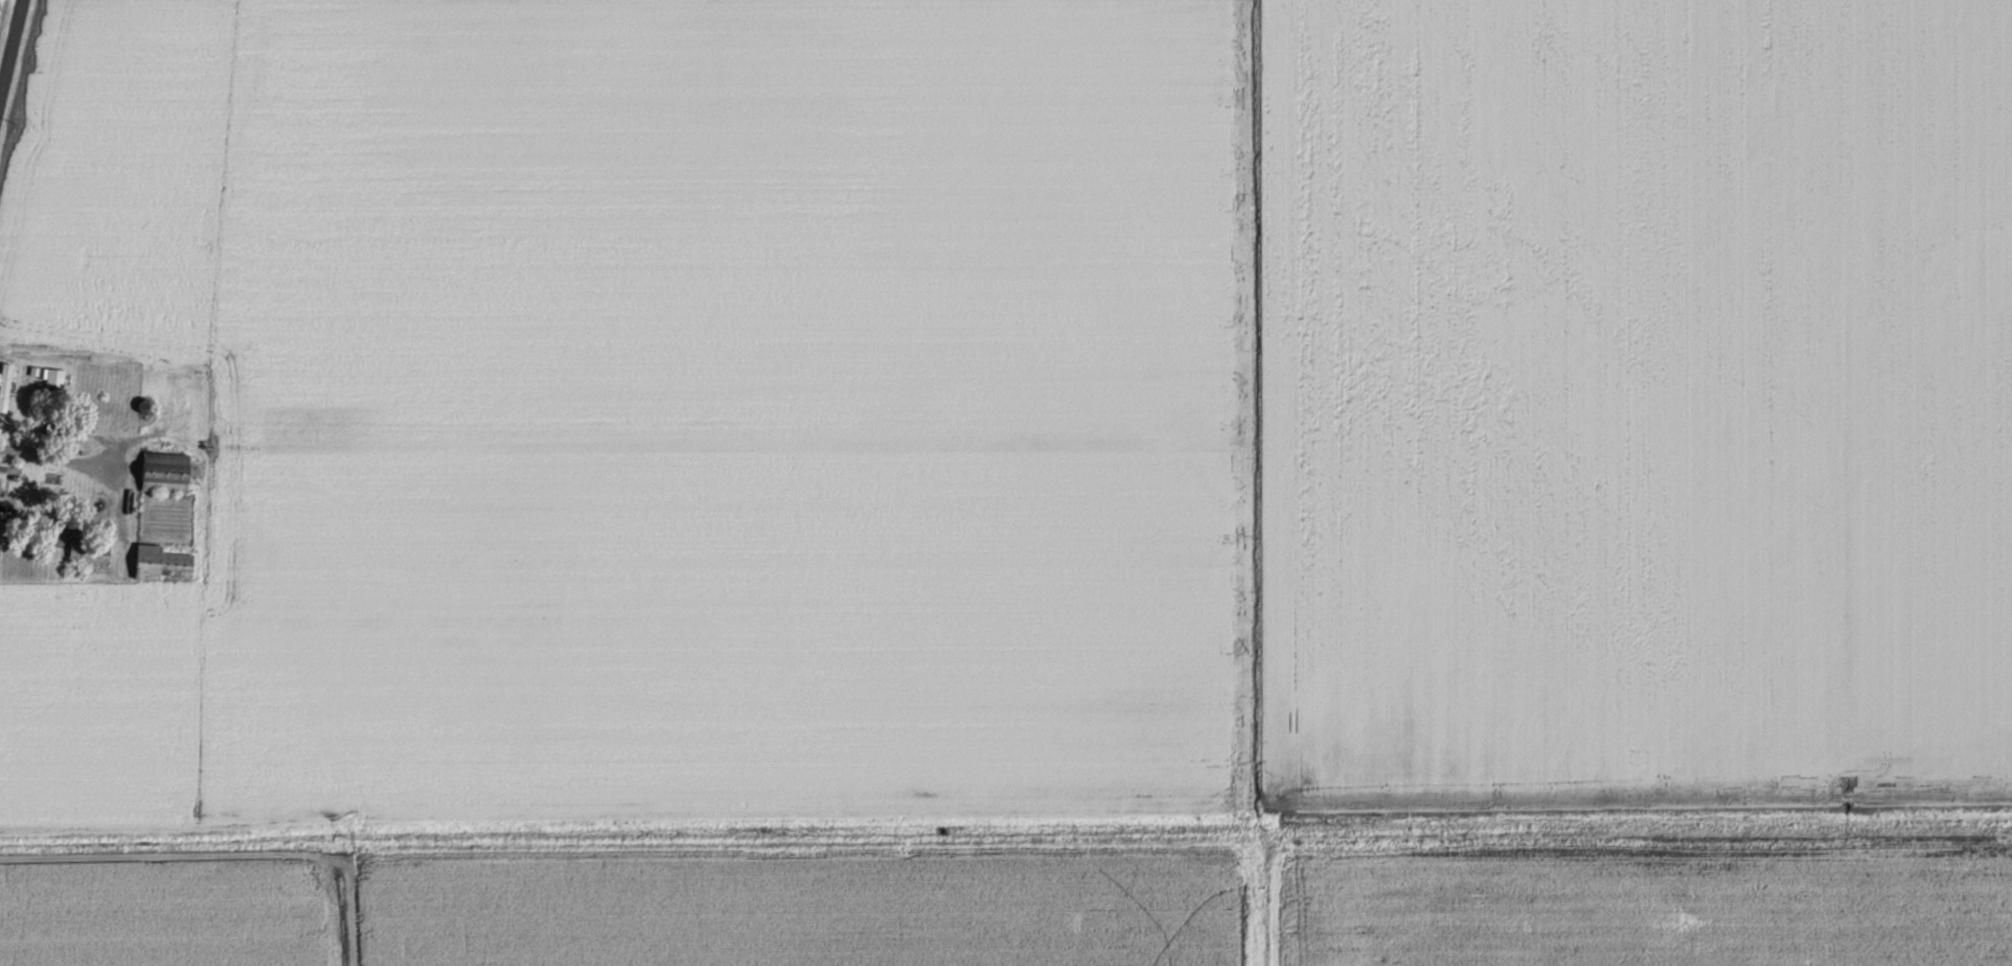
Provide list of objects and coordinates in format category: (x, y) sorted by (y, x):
road: (10, 45)
building: (56, 376)
building: (5, 385)
building: (146, 405)
building: (166, 471)
building: (27, 484)
building: (89, 551)
building: (162, 562)

